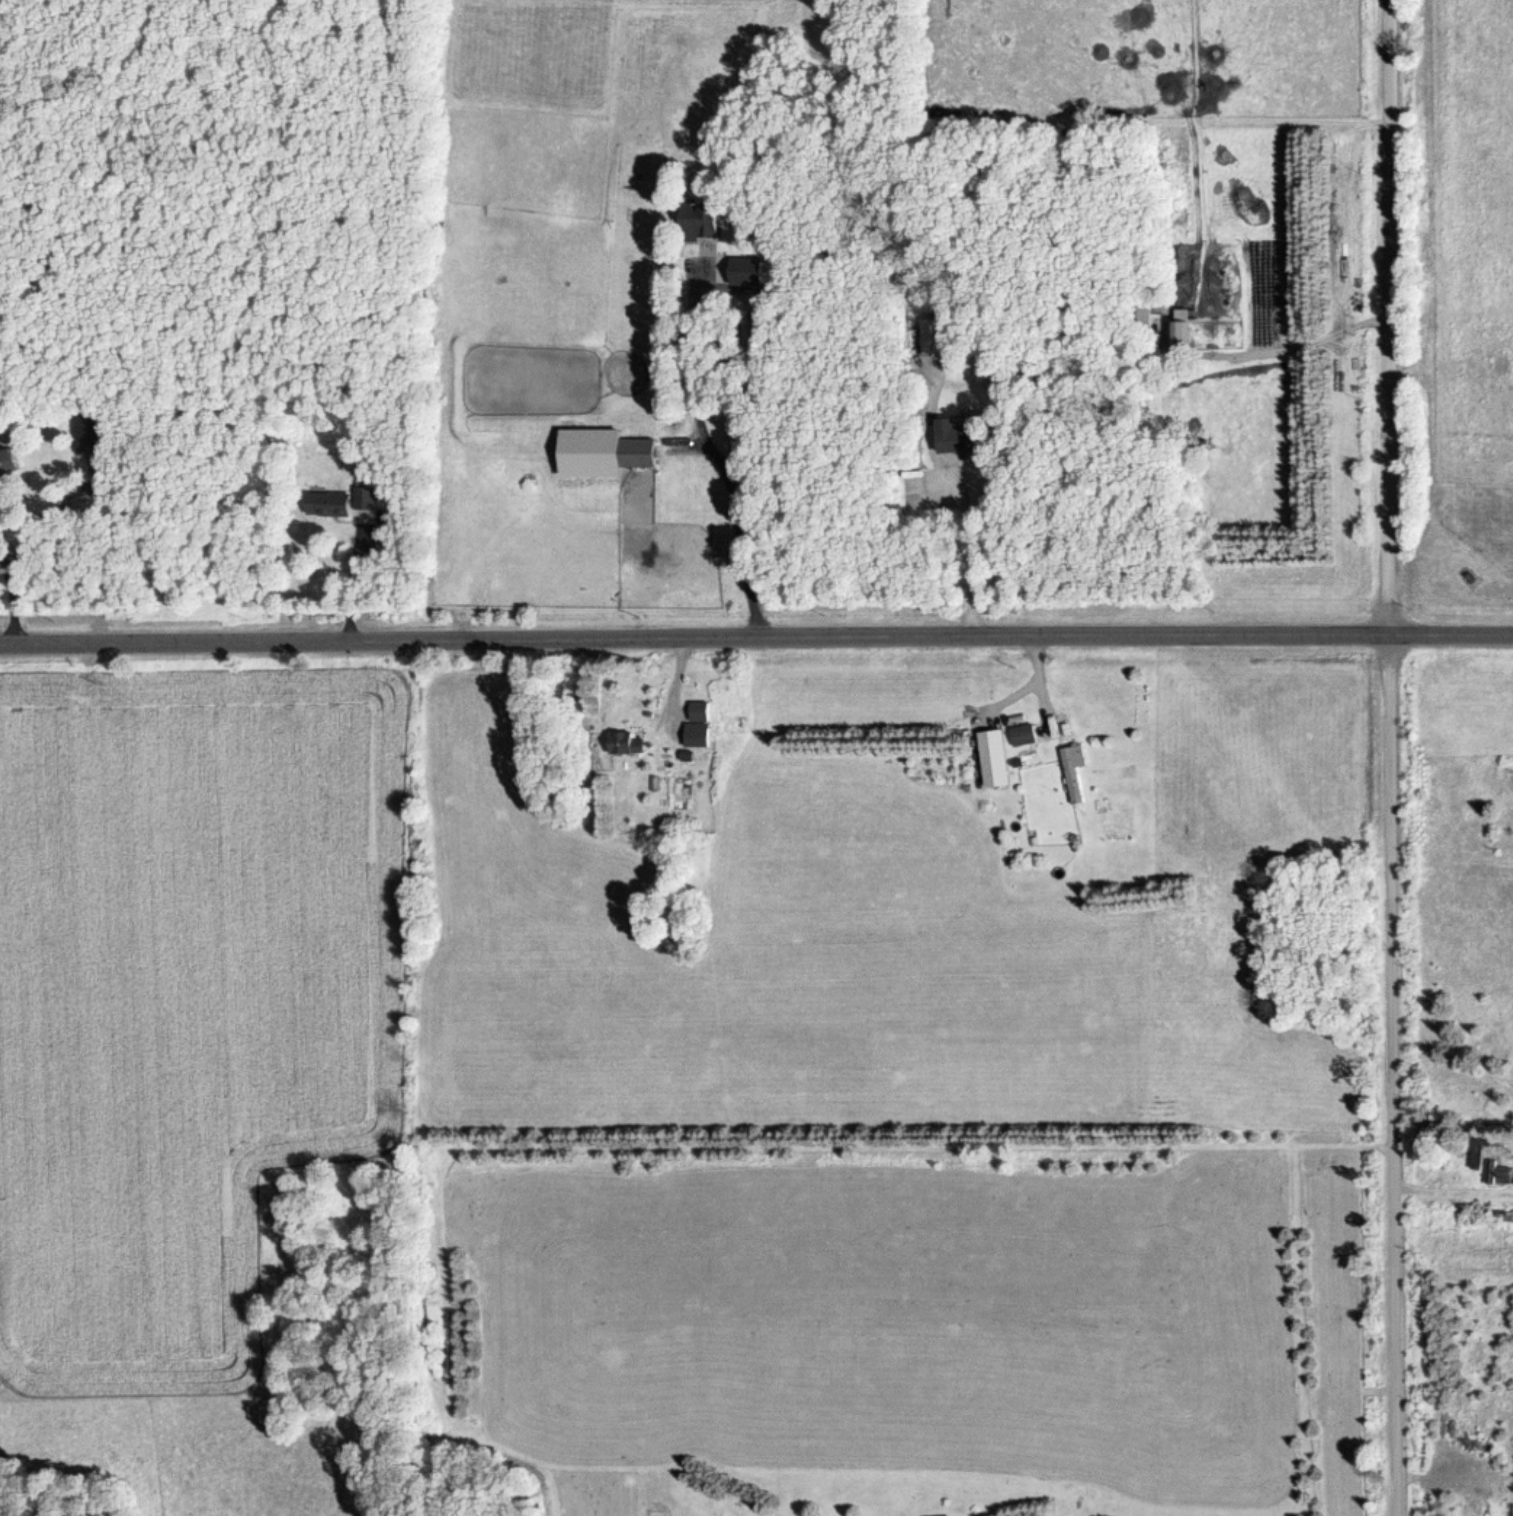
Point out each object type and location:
building: (703, 221)
building: (937, 340)
building: (1186, 340)
building: (88, 434)
building: (965, 438)
building: (643, 456)
building: (10, 465)
building: (337, 505)
road: (756, 641)
building: (702, 714)
building: (1027, 738)
building: (629, 745)
road: (1396, 758)
building: (1077, 773)

